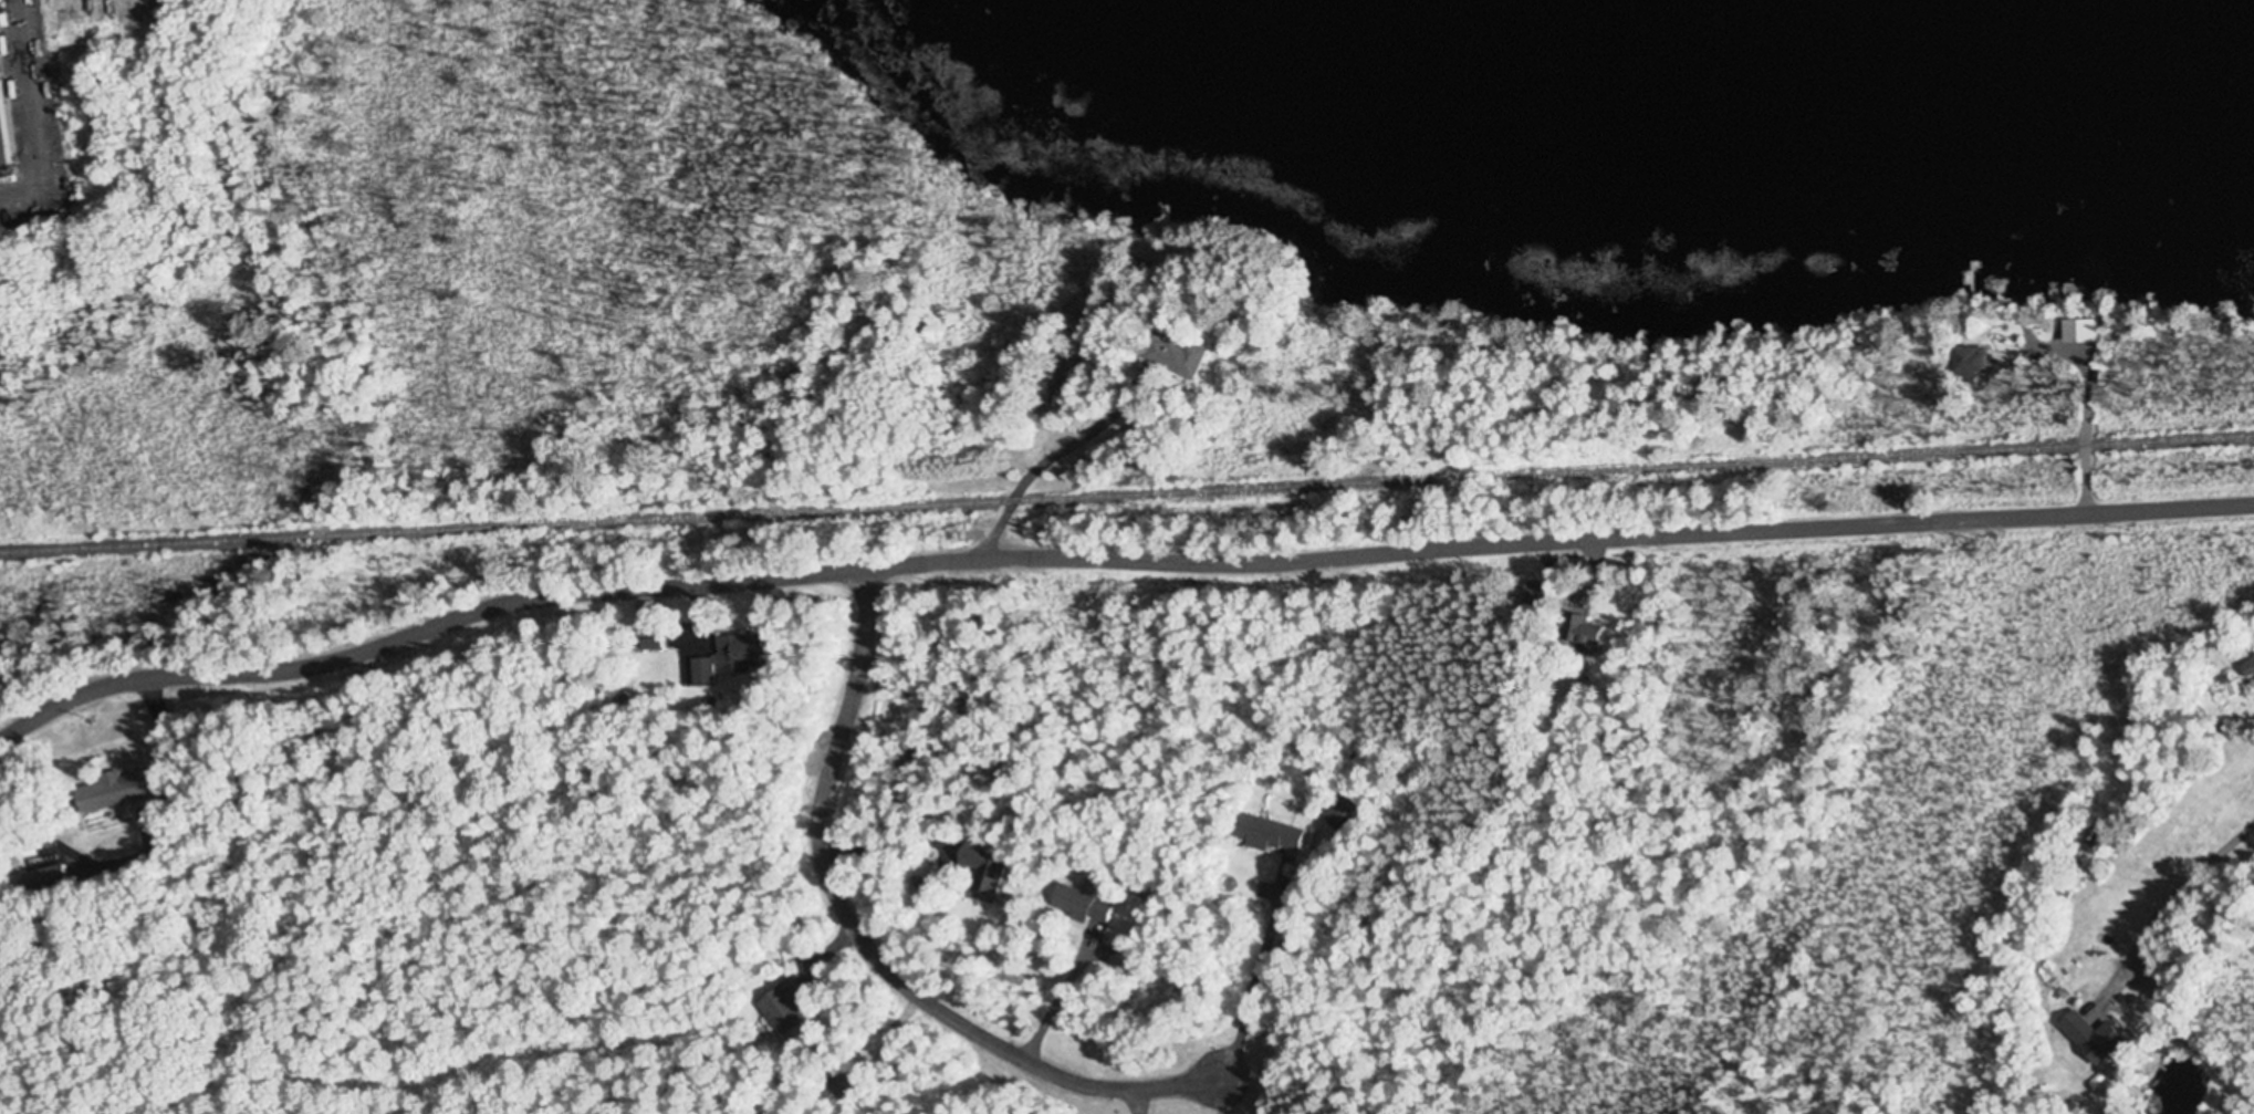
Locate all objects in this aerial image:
building: (2, 143)
building: (1171, 356)
building: (1064, 358)
building: (1966, 362)
road: (1039, 471)
railway: (1127, 497)
road: (1113, 562)
building: (1584, 633)
building: (728, 662)
building: (2247, 670)
building: (116, 792)
building: (1269, 836)
building: (982, 866)
building: (1082, 907)
road: (876, 954)
building: (784, 1010)
building: (2090, 1038)
building: (839, 1089)

